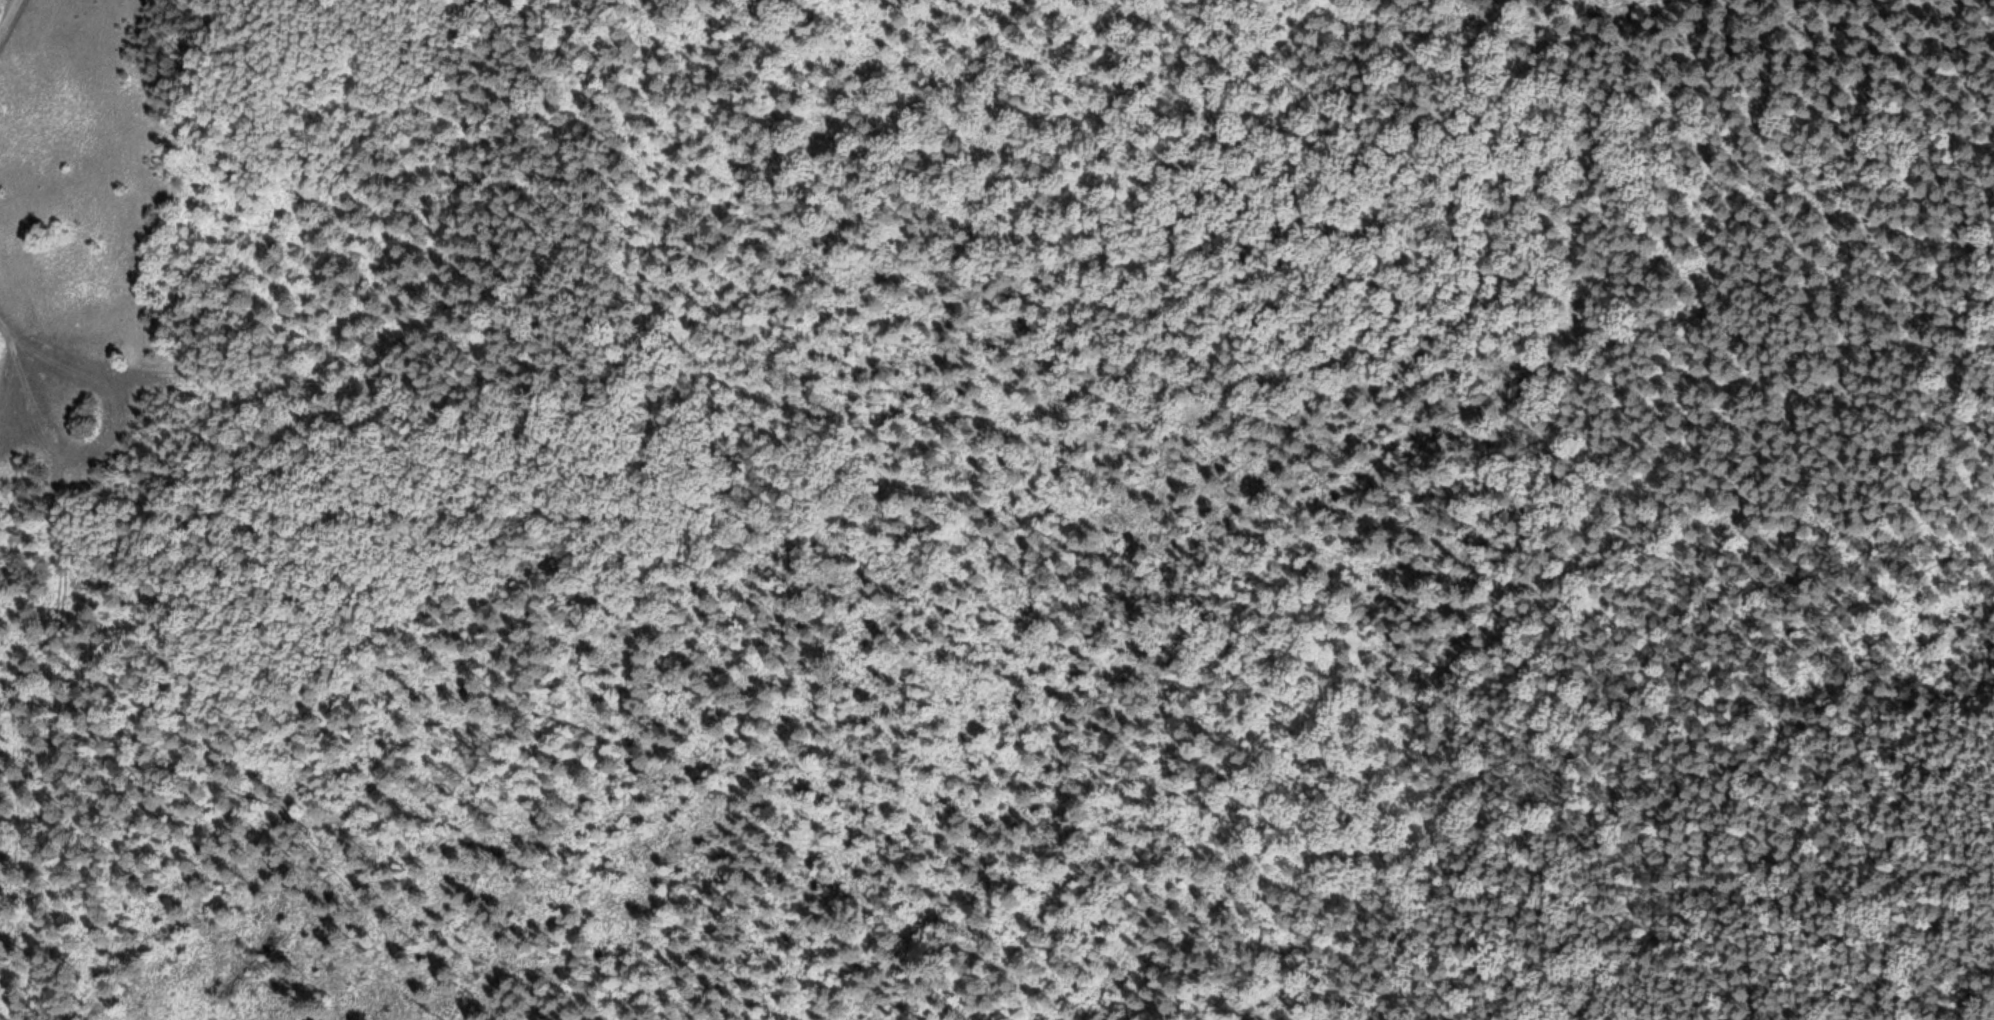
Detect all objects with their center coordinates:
road: (6, 11)
road: (42, 409)
road: (590, 512)

